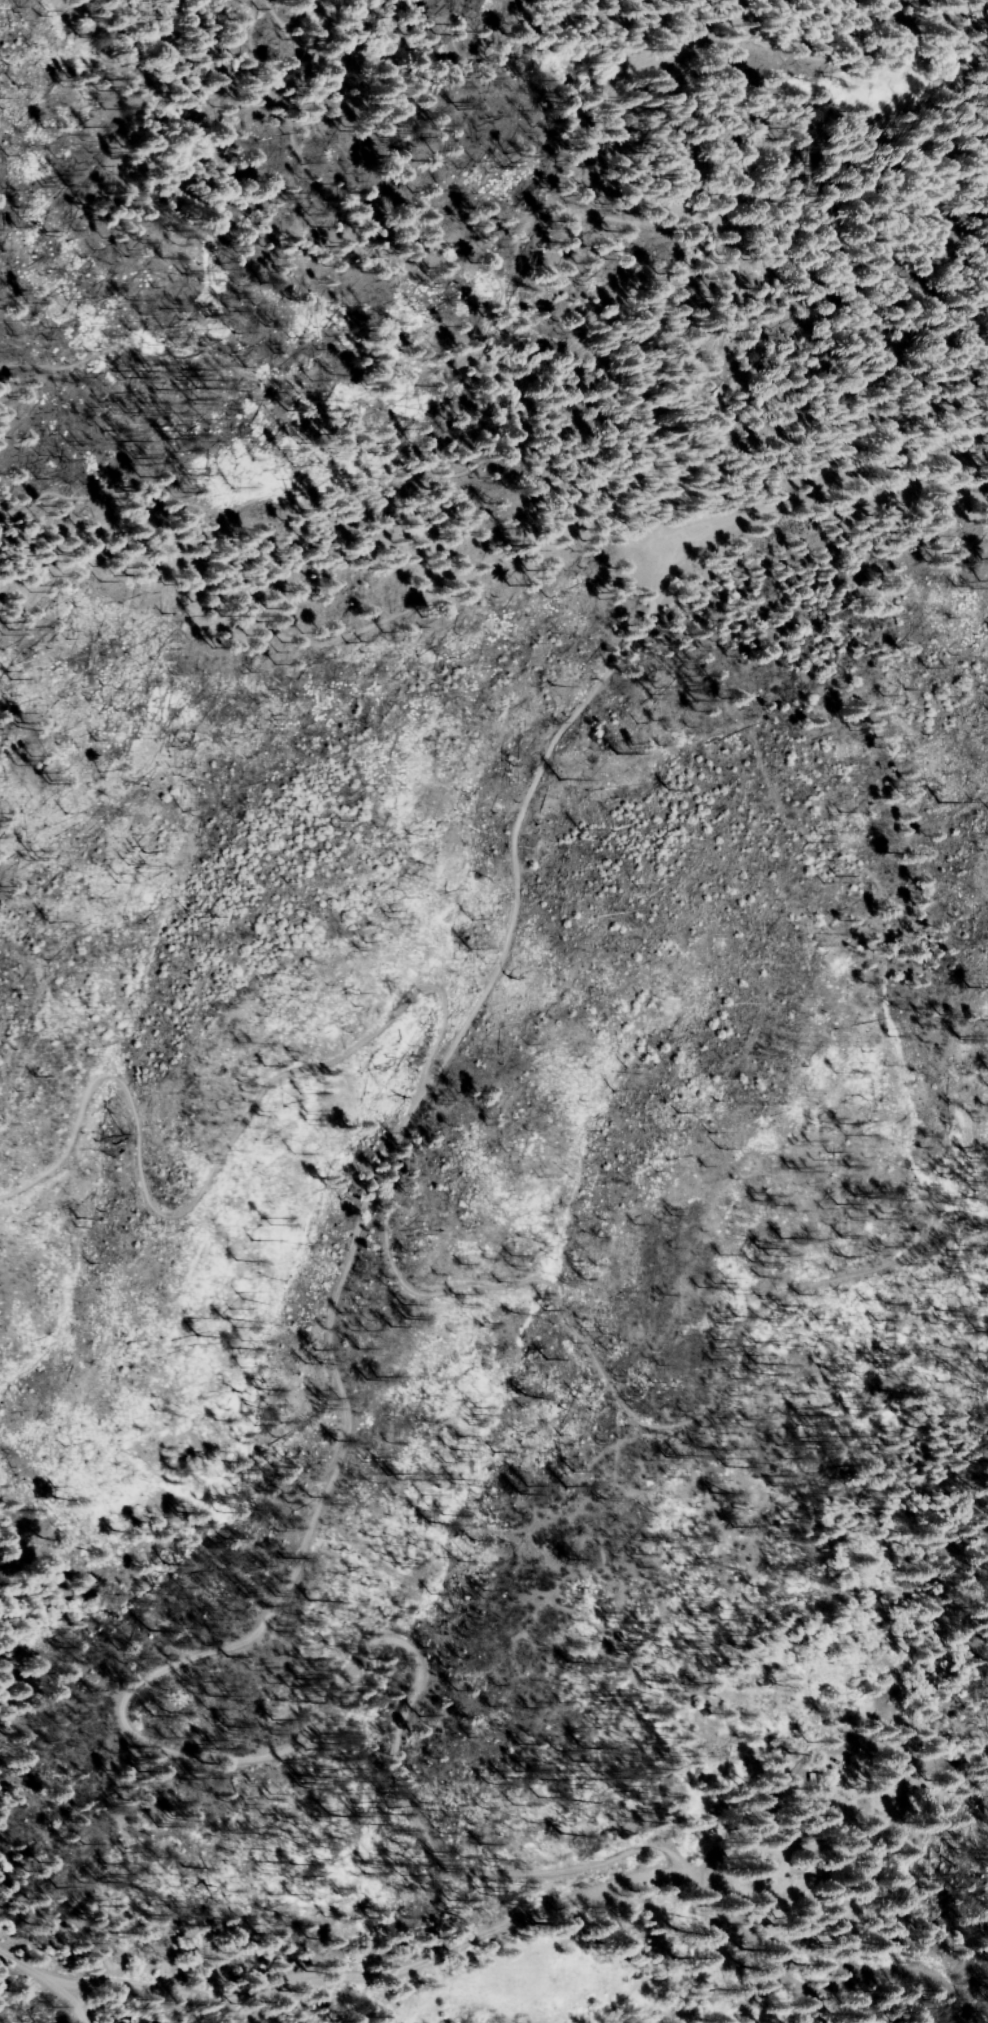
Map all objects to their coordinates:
road: (824, 509)
road: (349, 1244)
road: (891, 1762)
road: (745, 1930)
road: (627, 1952)
road: (360, 1966)
road: (48, 1980)

